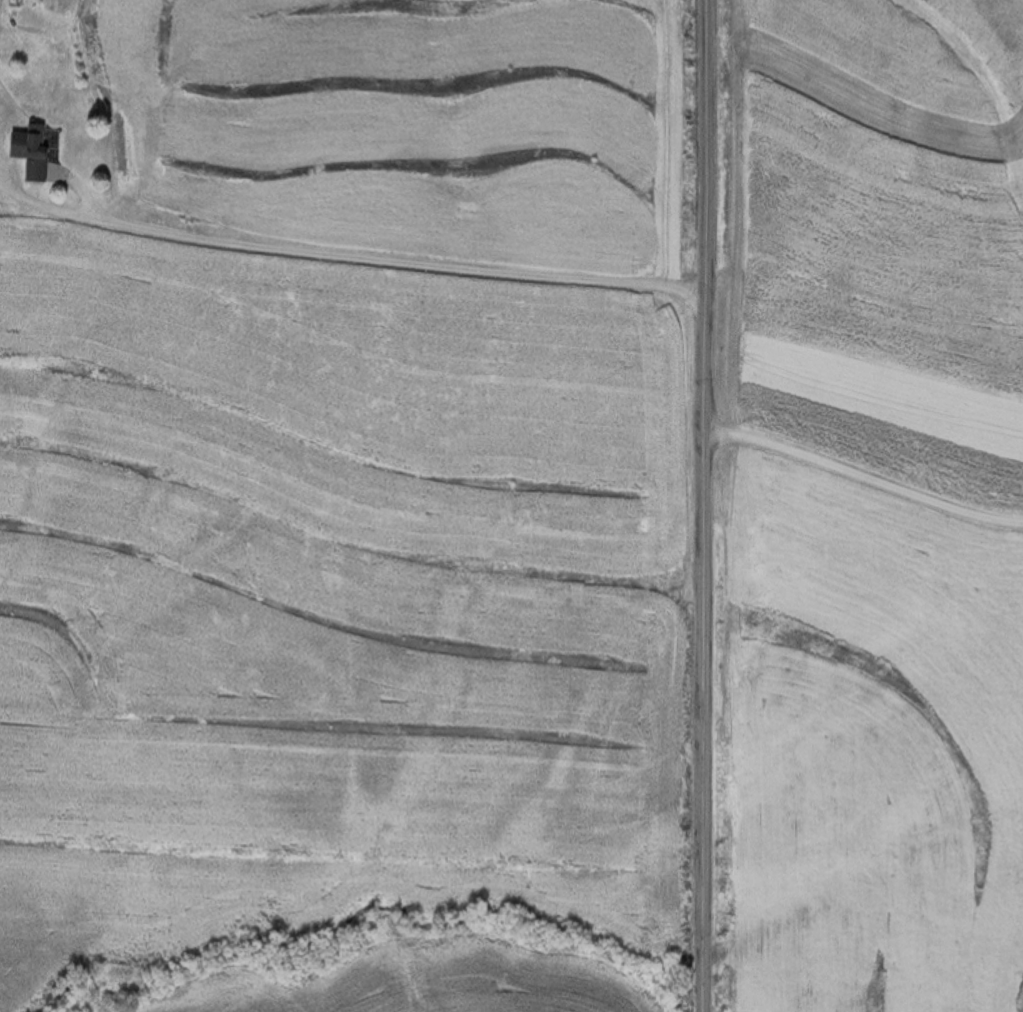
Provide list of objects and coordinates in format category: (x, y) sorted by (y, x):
building: (12, 3)
building: (26, 150)
road: (348, 256)
road: (863, 478)
road: (703, 505)

